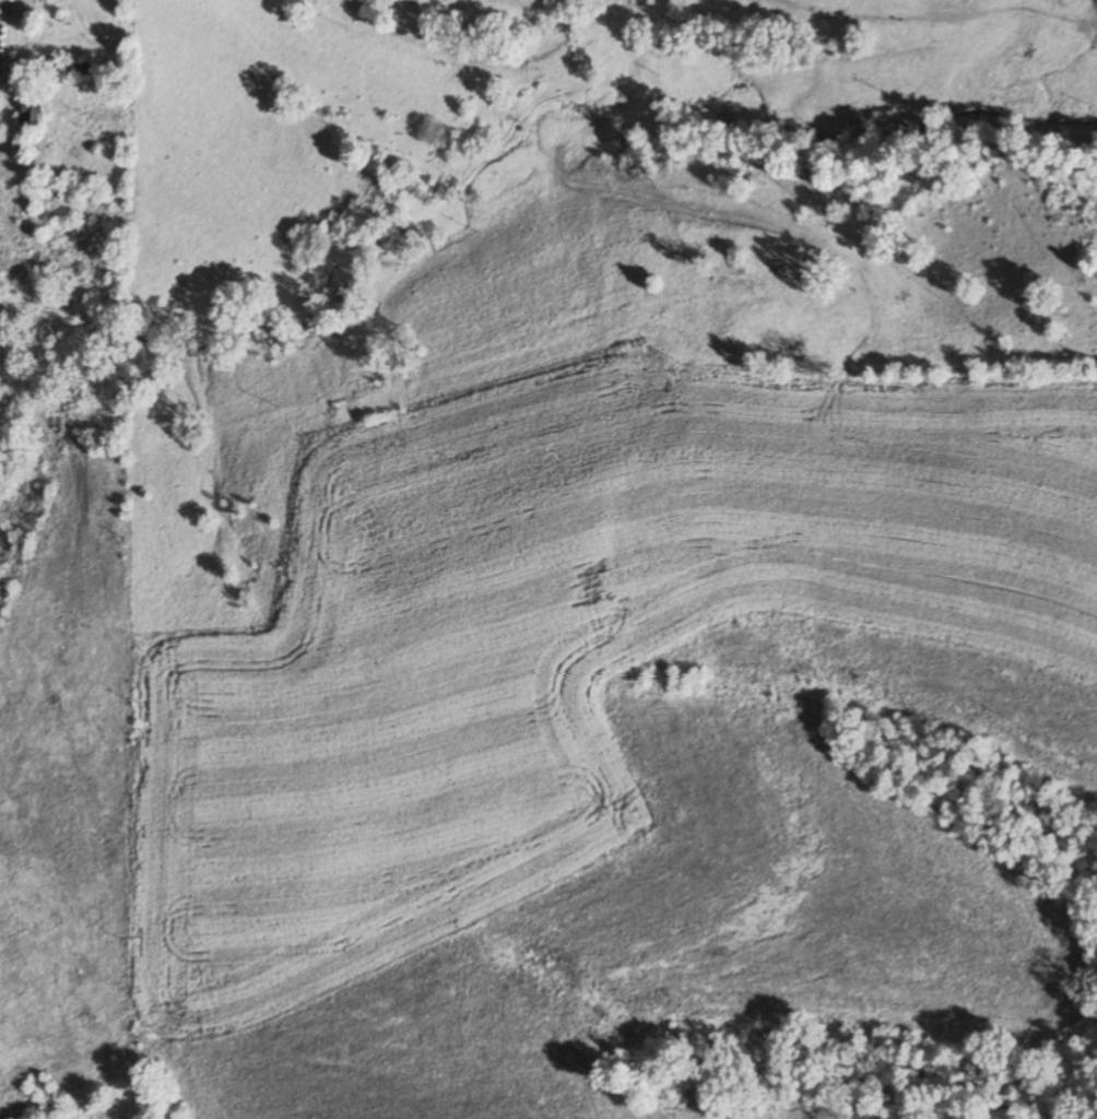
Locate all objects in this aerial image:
road: (439, 10)
building: (10, 63)
building: (66, 67)
road: (628, 93)
building: (33, 111)
building: (42, 182)
building: (662, 374)

